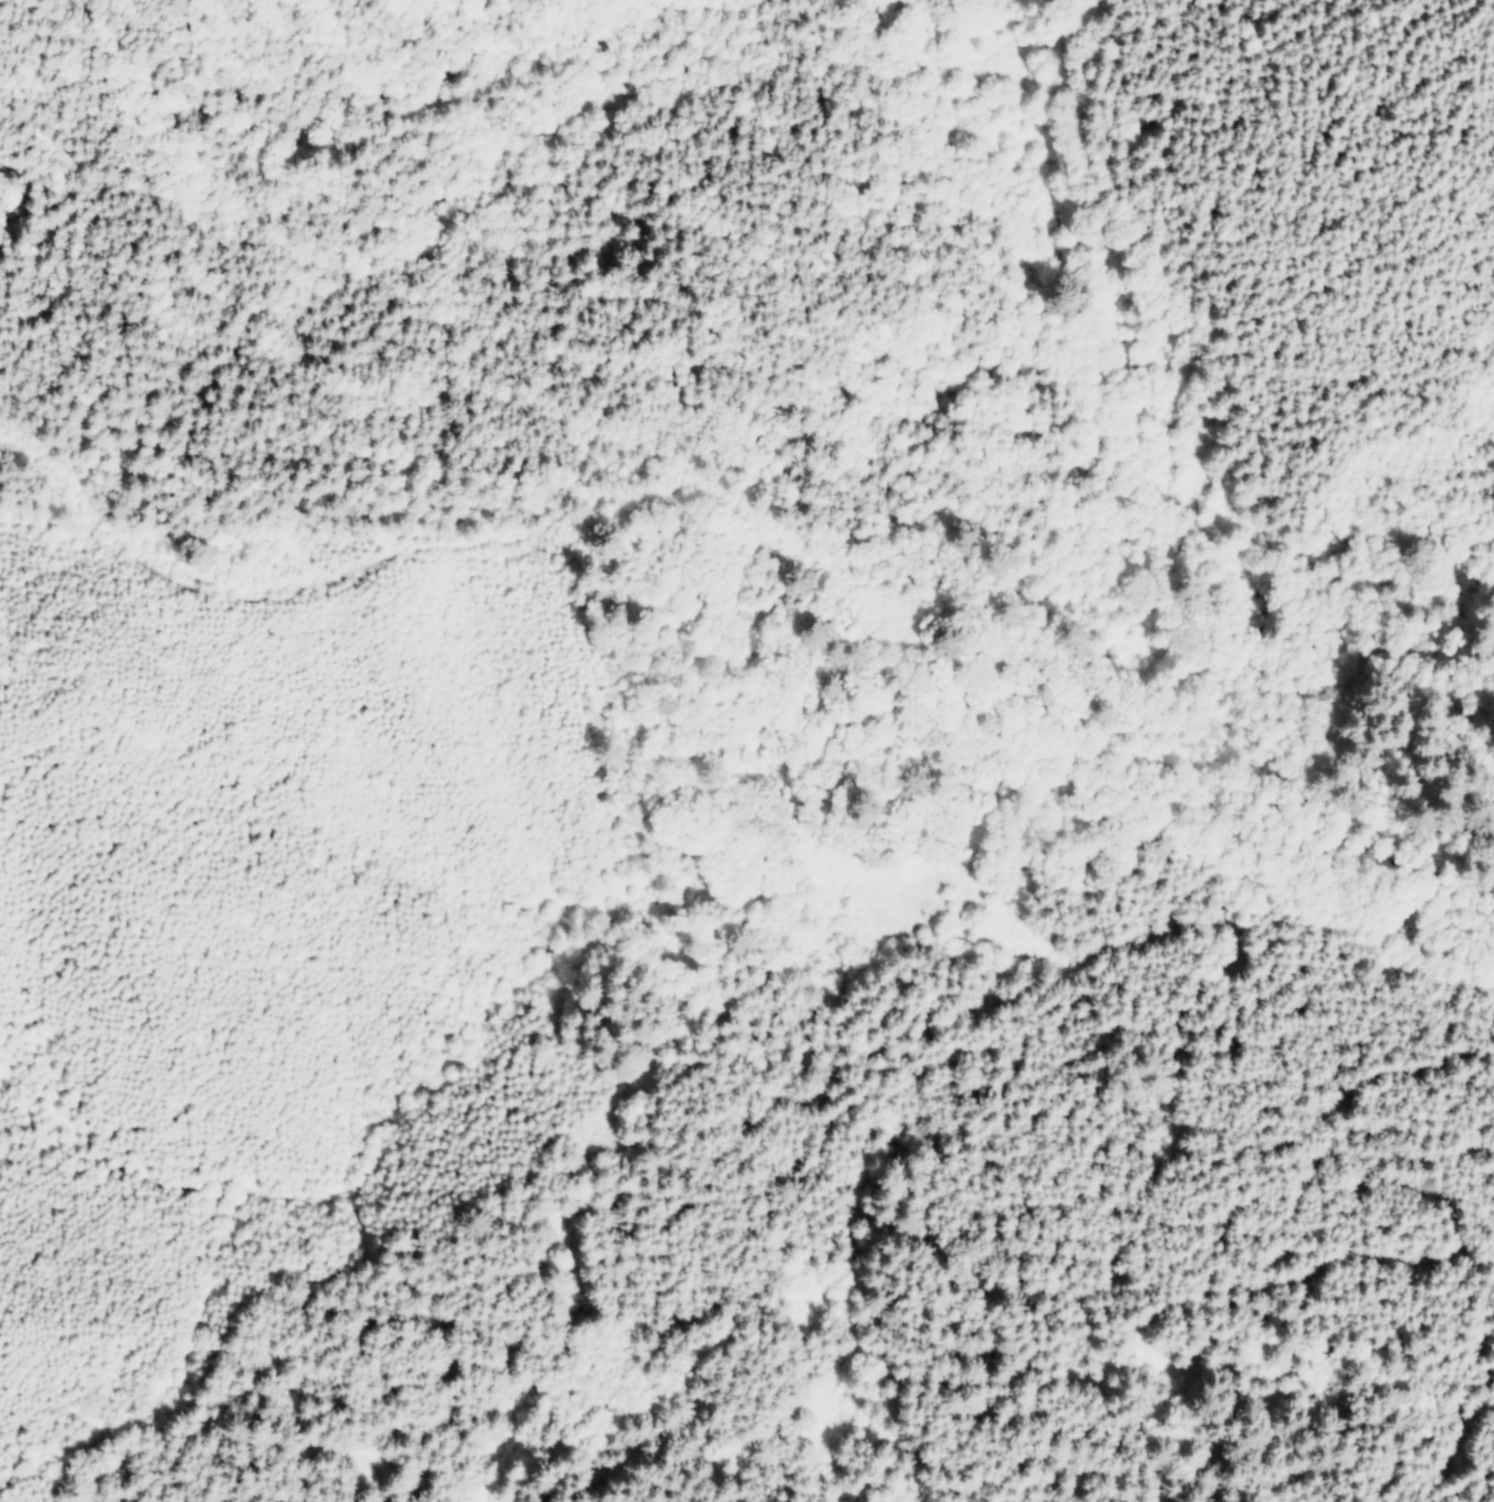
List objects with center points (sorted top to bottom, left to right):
road: (1296, 1273)

